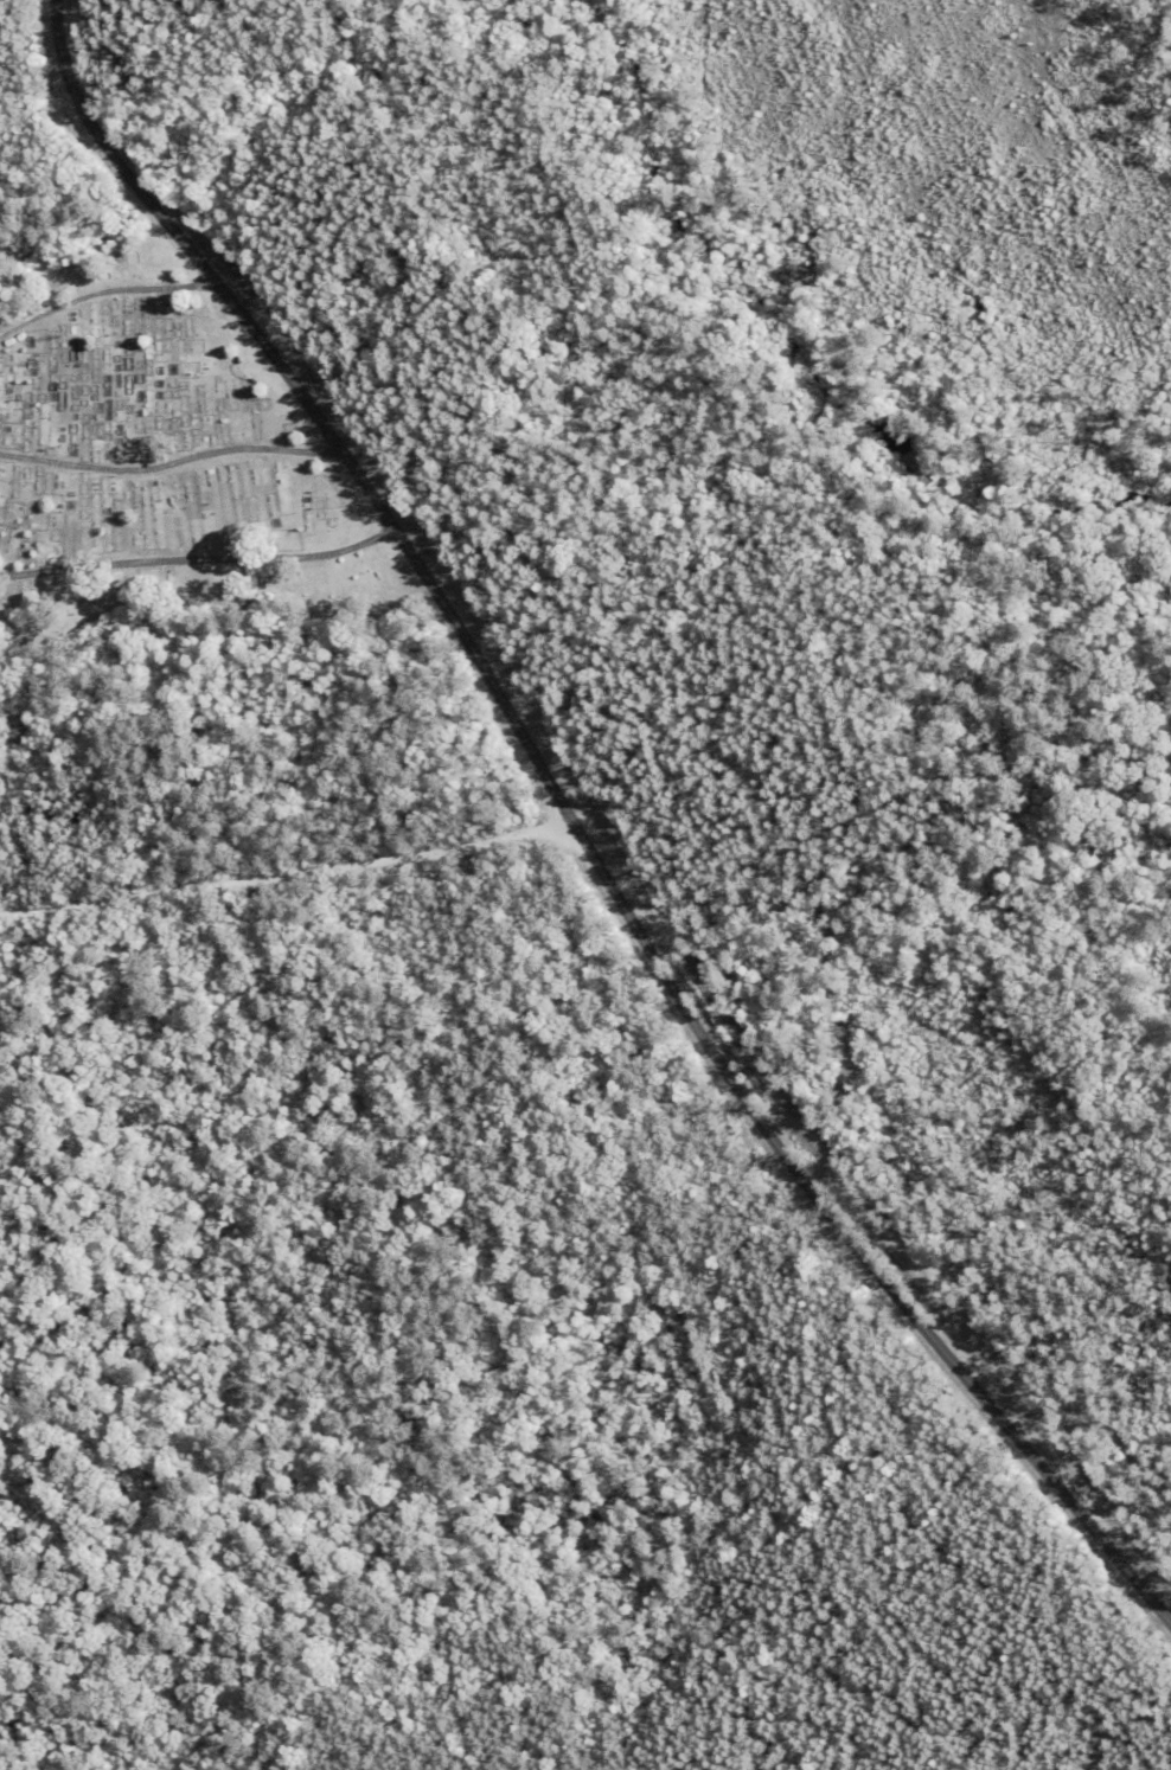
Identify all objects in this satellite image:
road: (576, 832)
road: (287, 876)

